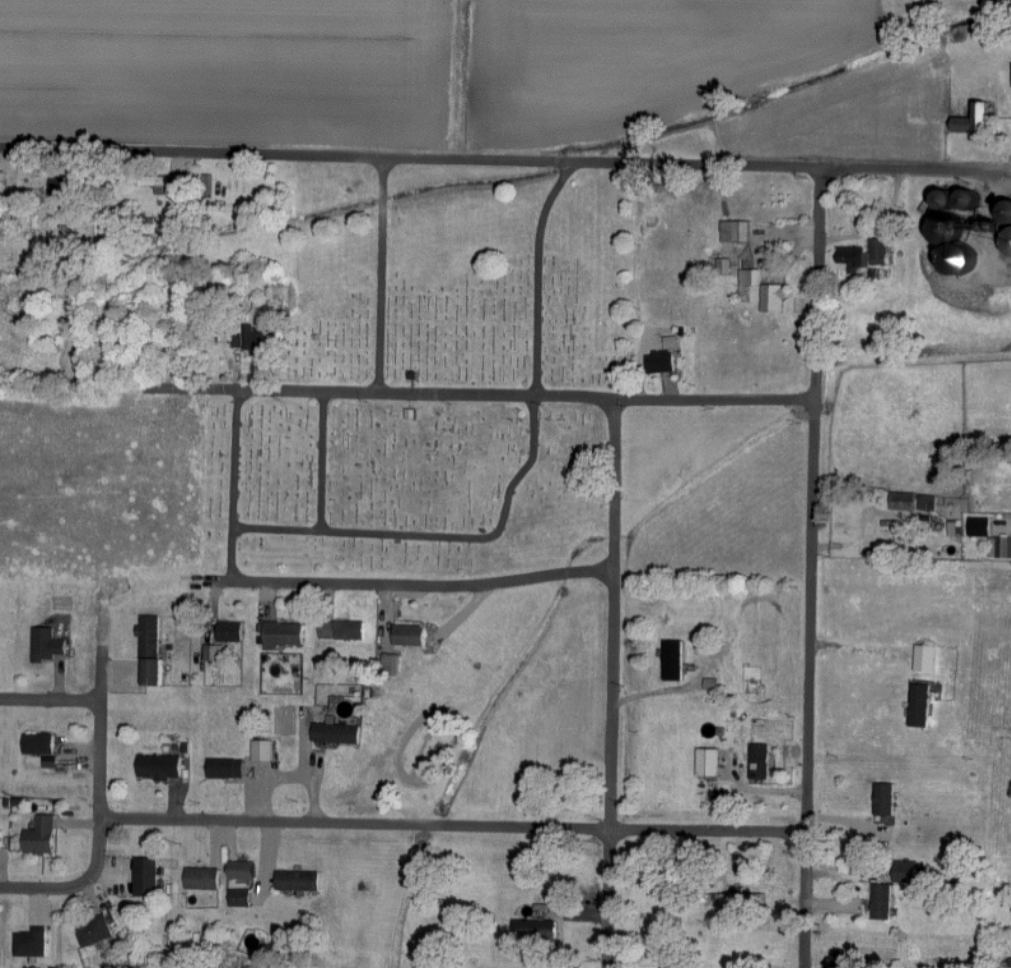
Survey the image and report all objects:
building: (978, 118)
road: (505, 159)
building: (2, 181)
building: (157, 182)
building: (63, 185)
building: (736, 230)
building: (958, 238)
building: (1009, 240)
building: (866, 254)
building: (725, 265)
road: (106, 269)
road: (382, 275)
building: (751, 276)
building: (775, 296)
building: (261, 338)
building: (672, 342)
building: (662, 361)
road: (459, 394)
road: (235, 458)
road: (320, 461)
road: (520, 475)
building: (904, 501)
building: (929, 503)
building: (981, 526)
building: (956, 528)
building: (1001, 547)
road: (811, 567)
road: (397, 582)
building: (343, 630)
building: (230, 631)
building: (411, 633)
building: (283, 634)
building: (47, 644)
building: (151, 648)
road: (860, 650)
building: (213, 653)
building: (926, 658)
building: (675, 660)
building: (391, 664)
road: (611, 685)
road: (49, 701)
building: (922, 704)
road: (98, 712)
building: (337, 732)
building: (39, 743)
building: (262, 750)
building: (709, 761)
building: (761, 761)
building: (160, 766)
building: (226, 768)
building: (886, 799)
road: (451, 830)
building: (41, 836)
building: (1, 838)
building: (740, 863)
building: (242, 869)
building: (906, 872)
building: (149, 876)
building: (203, 878)
building: (298, 880)
road: (76, 884)
building: (240, 897)
building: (883, 901)
building: (536, 927)
building: (94, 931)
building: (31, 942)
building: (841, 960)

